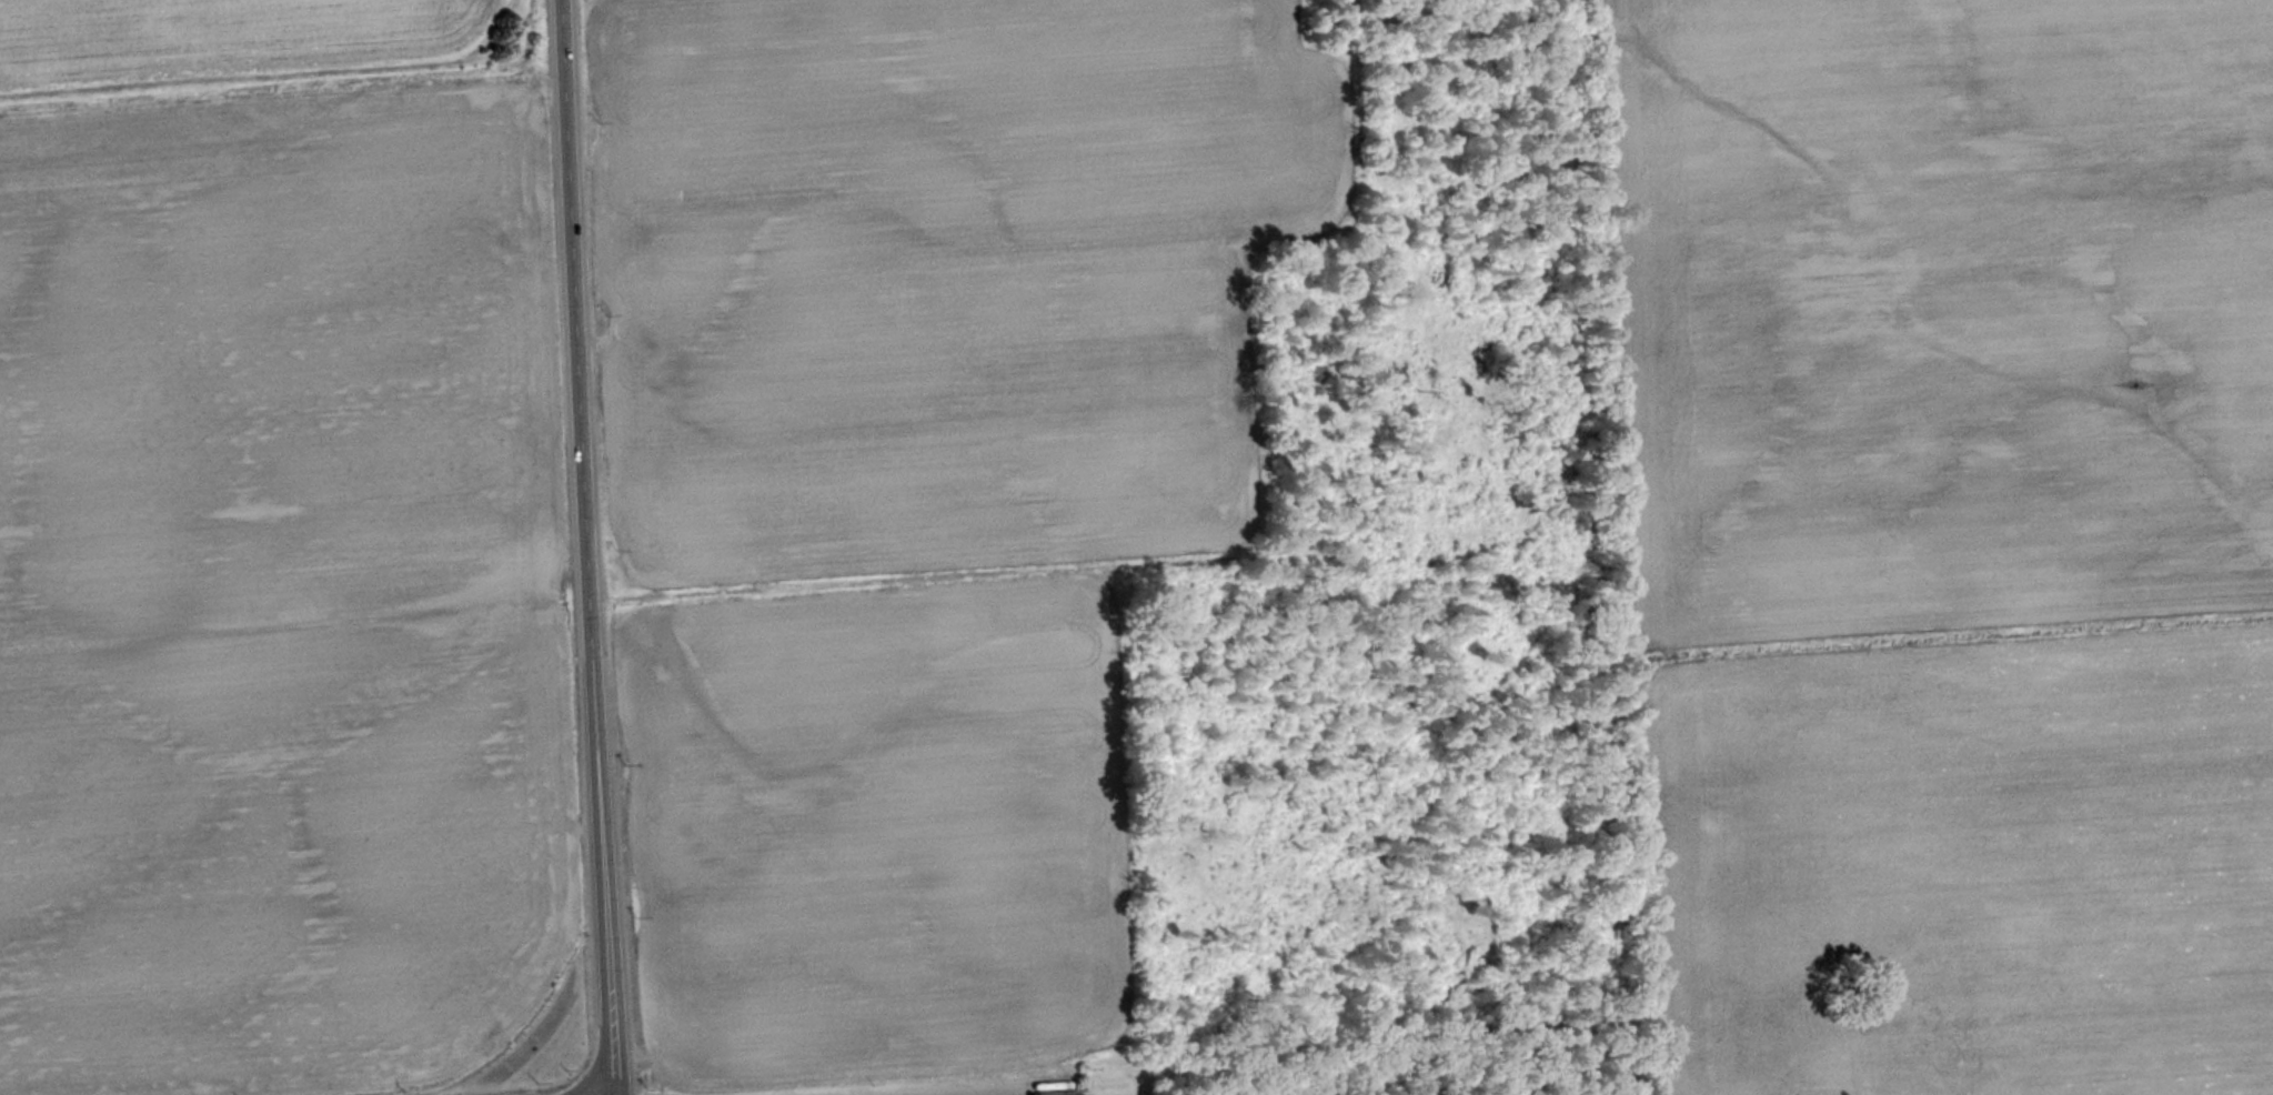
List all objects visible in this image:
road: (582, 546)
road: (881, 1091)
building: (1062, 1094)

